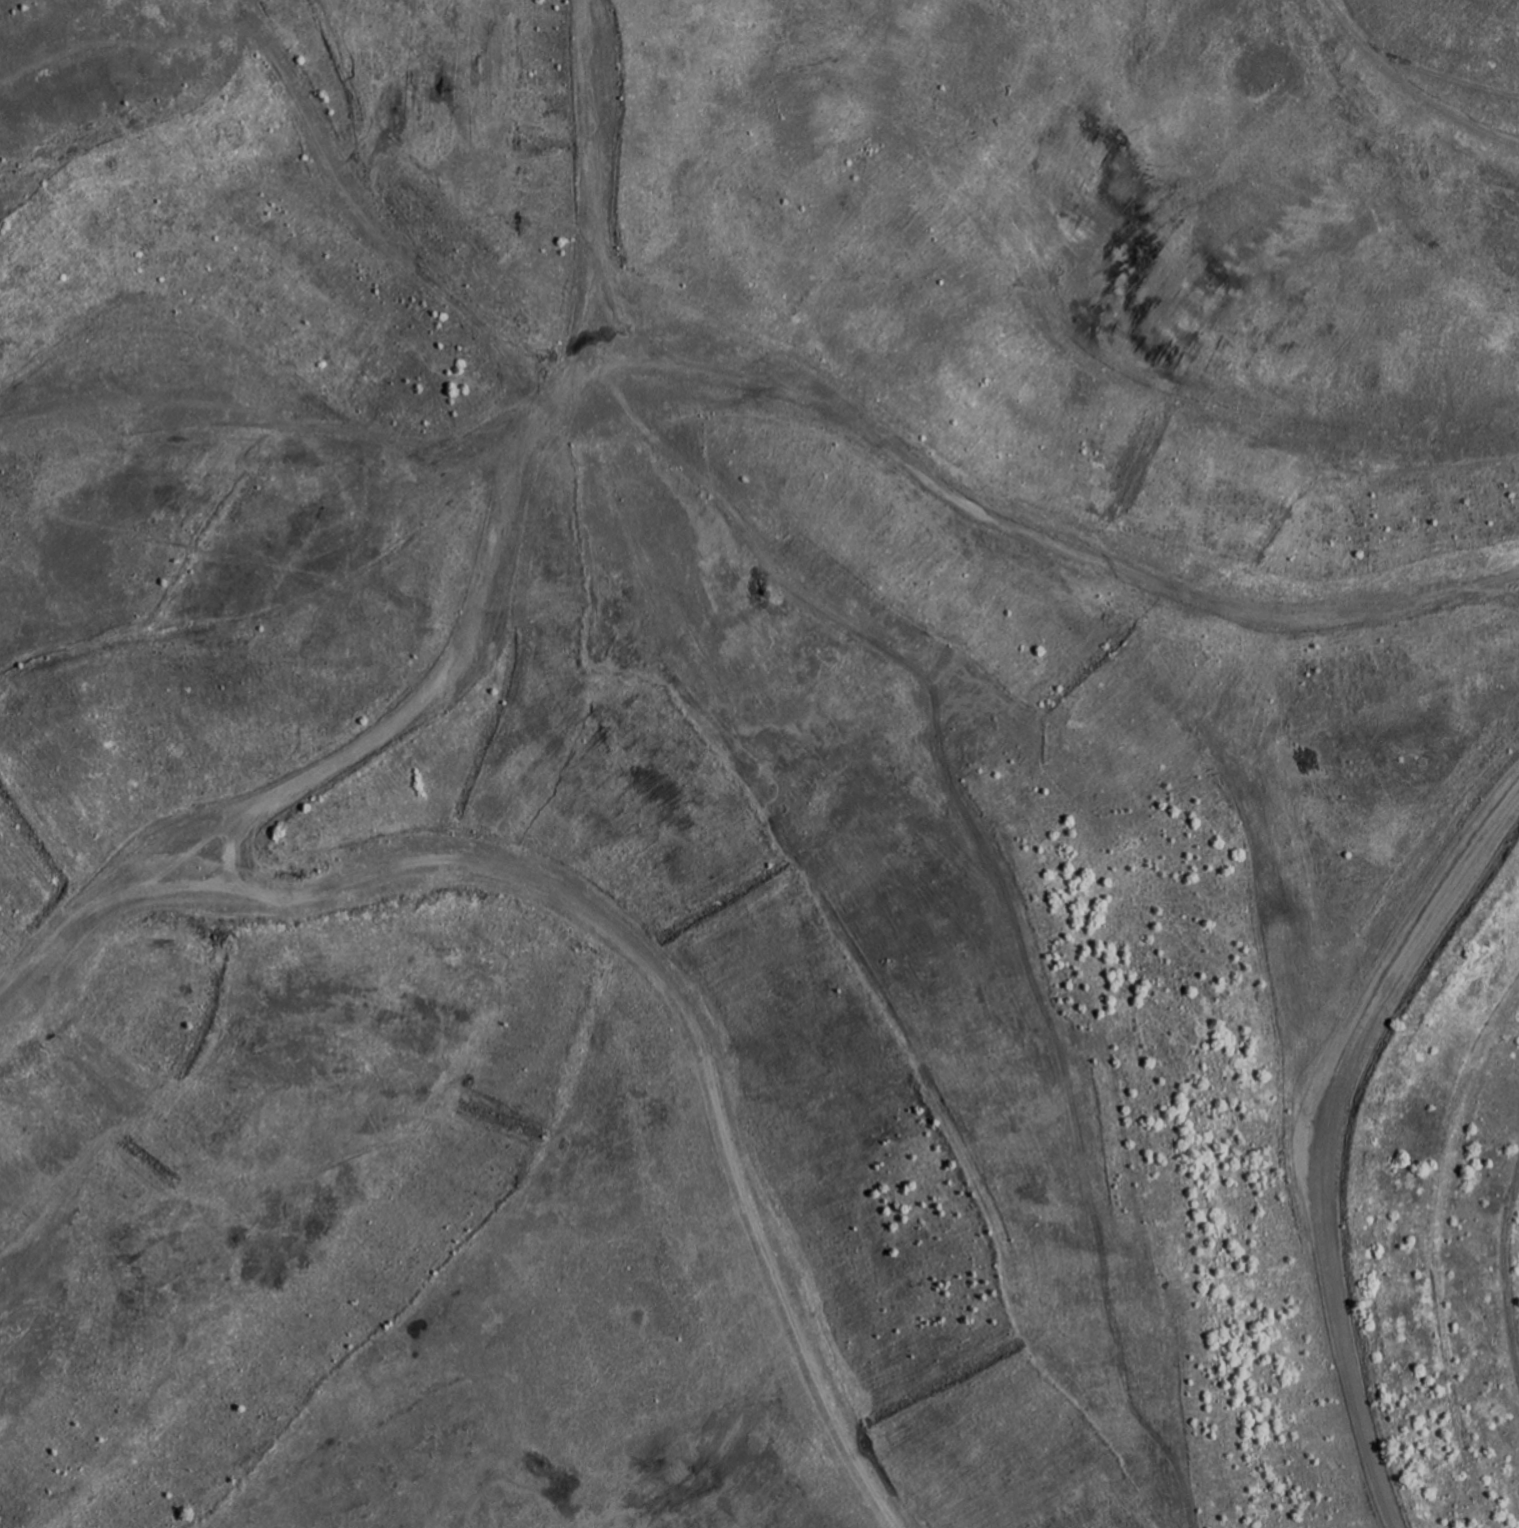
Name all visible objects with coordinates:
quarry: (759, 764)

